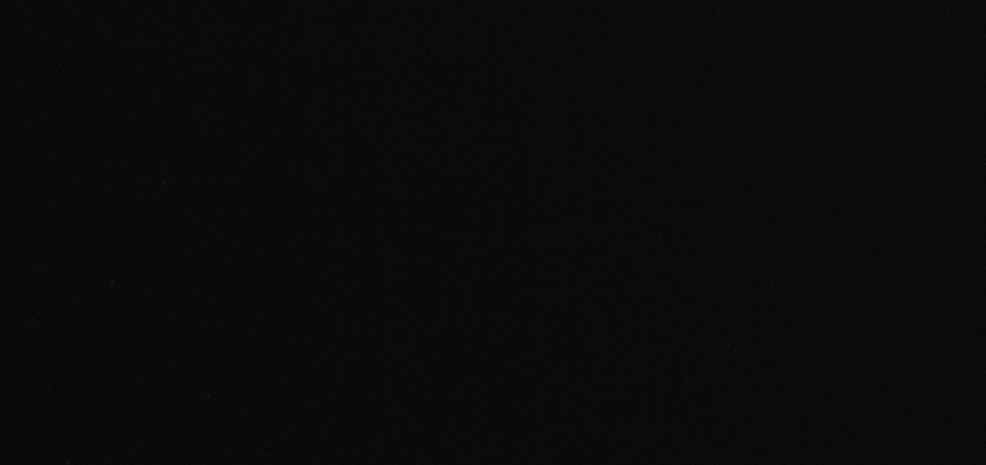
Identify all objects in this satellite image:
wastewater plant: (493, 232)

